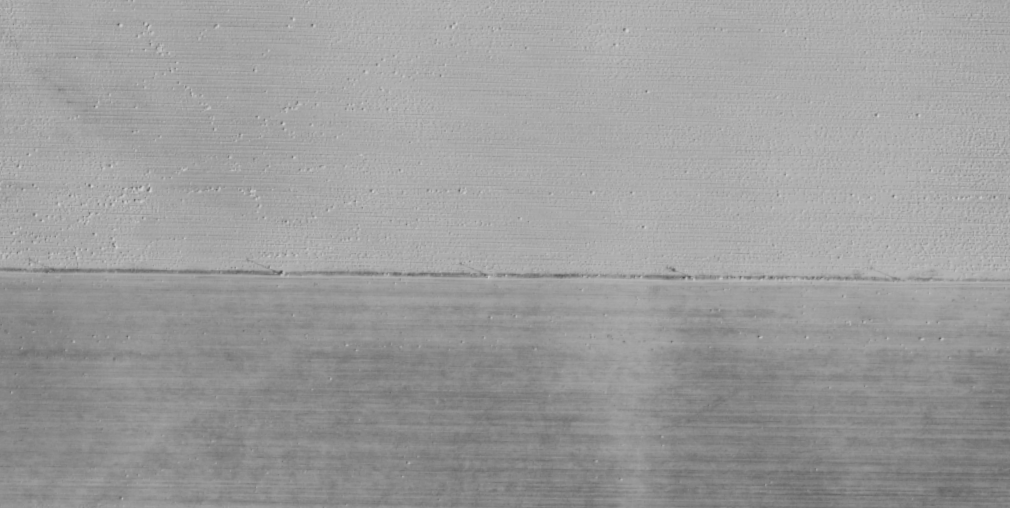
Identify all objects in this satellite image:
road: (505, 293)

